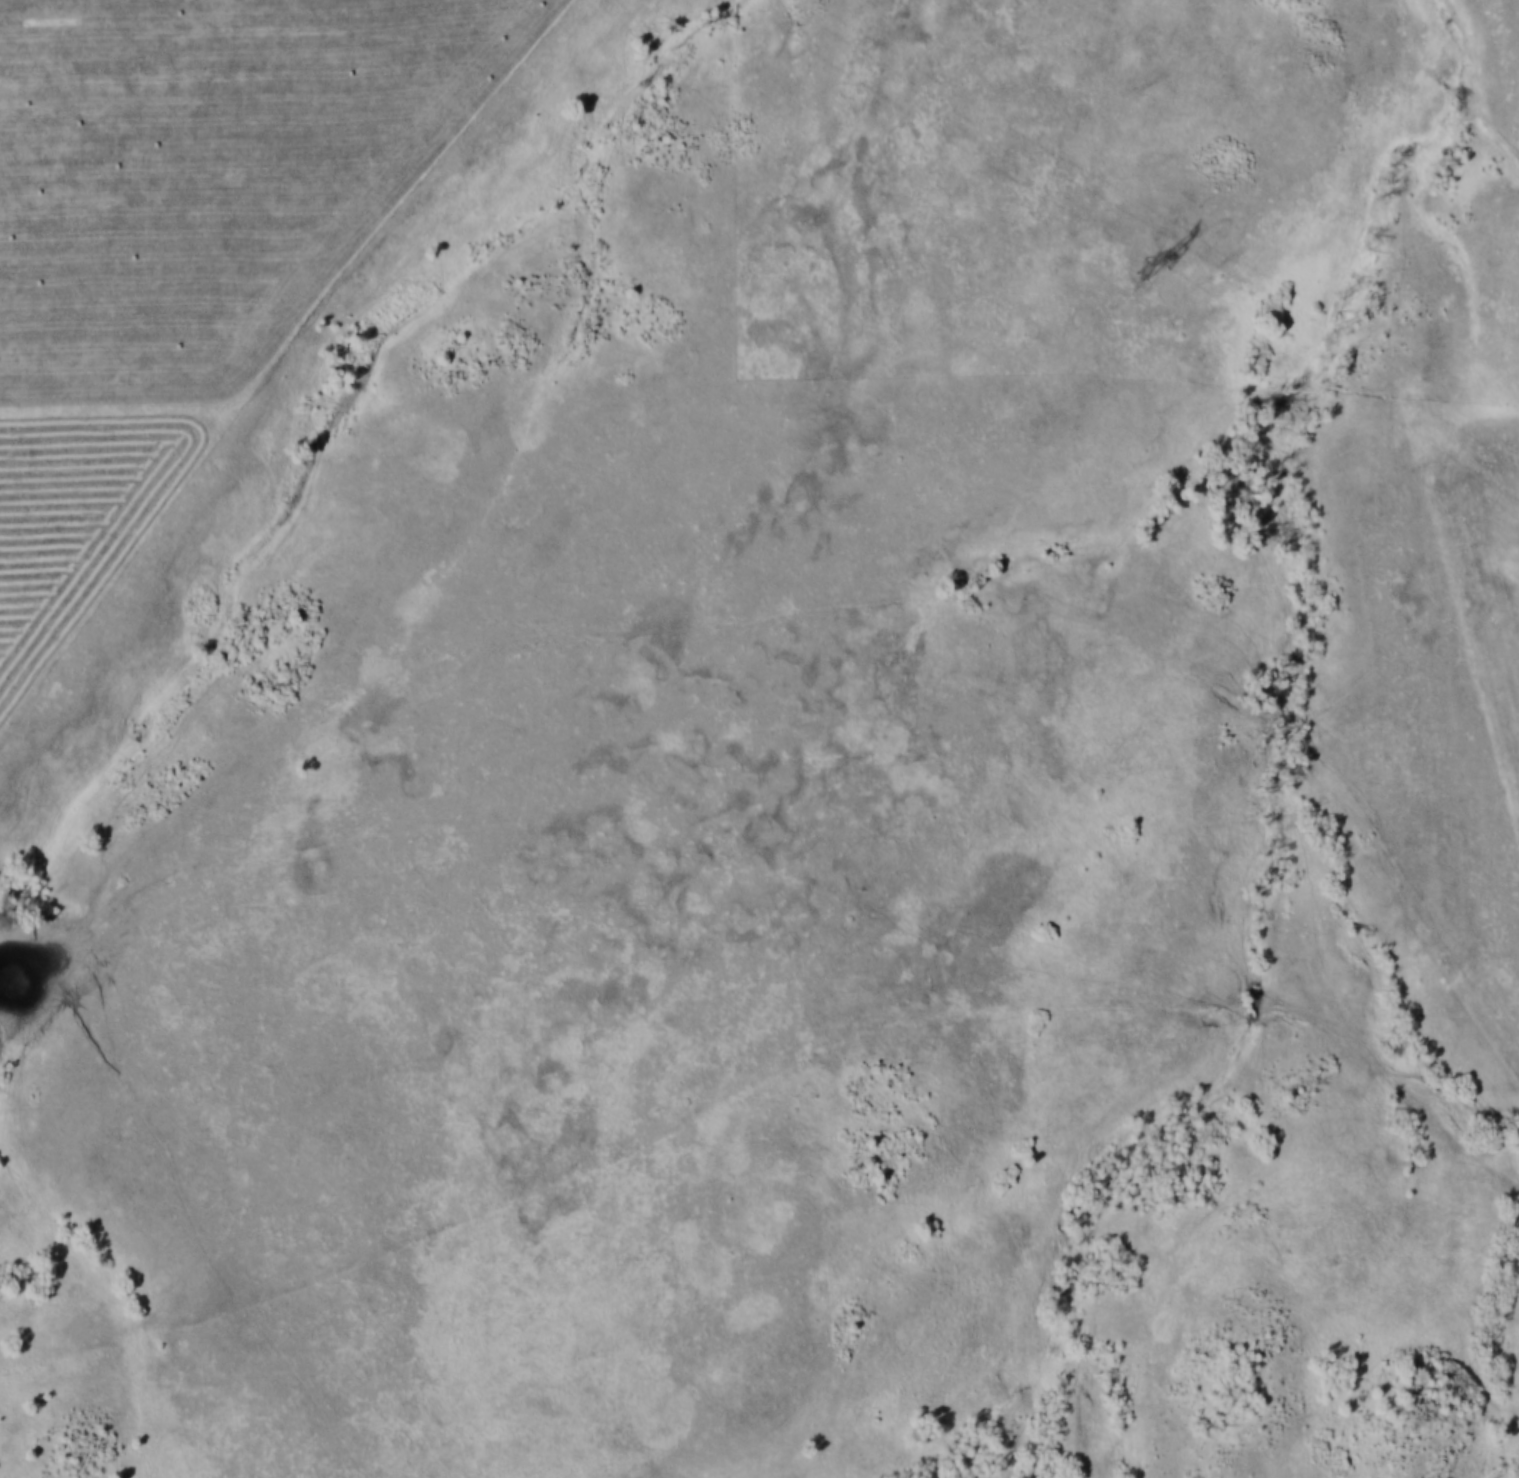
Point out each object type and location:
power tower: (1134, 263)

